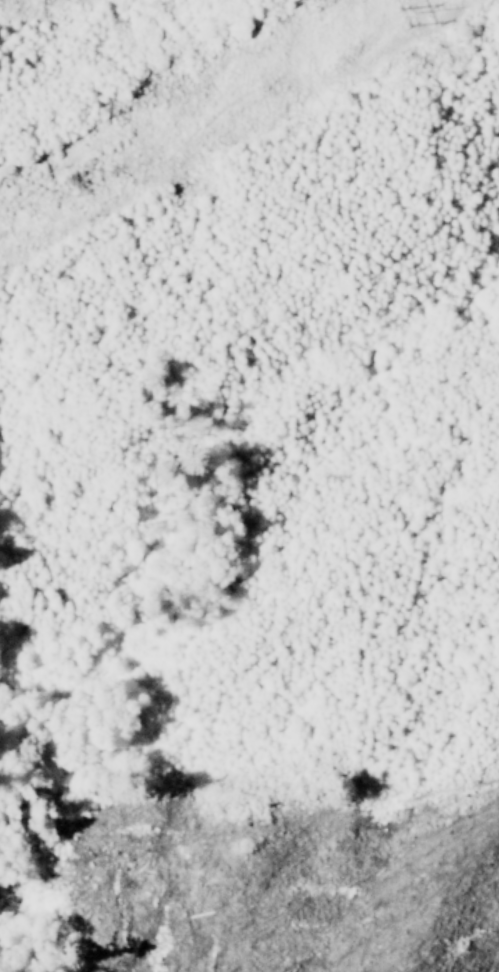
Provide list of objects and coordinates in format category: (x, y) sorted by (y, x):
power tower: (396, 8)

